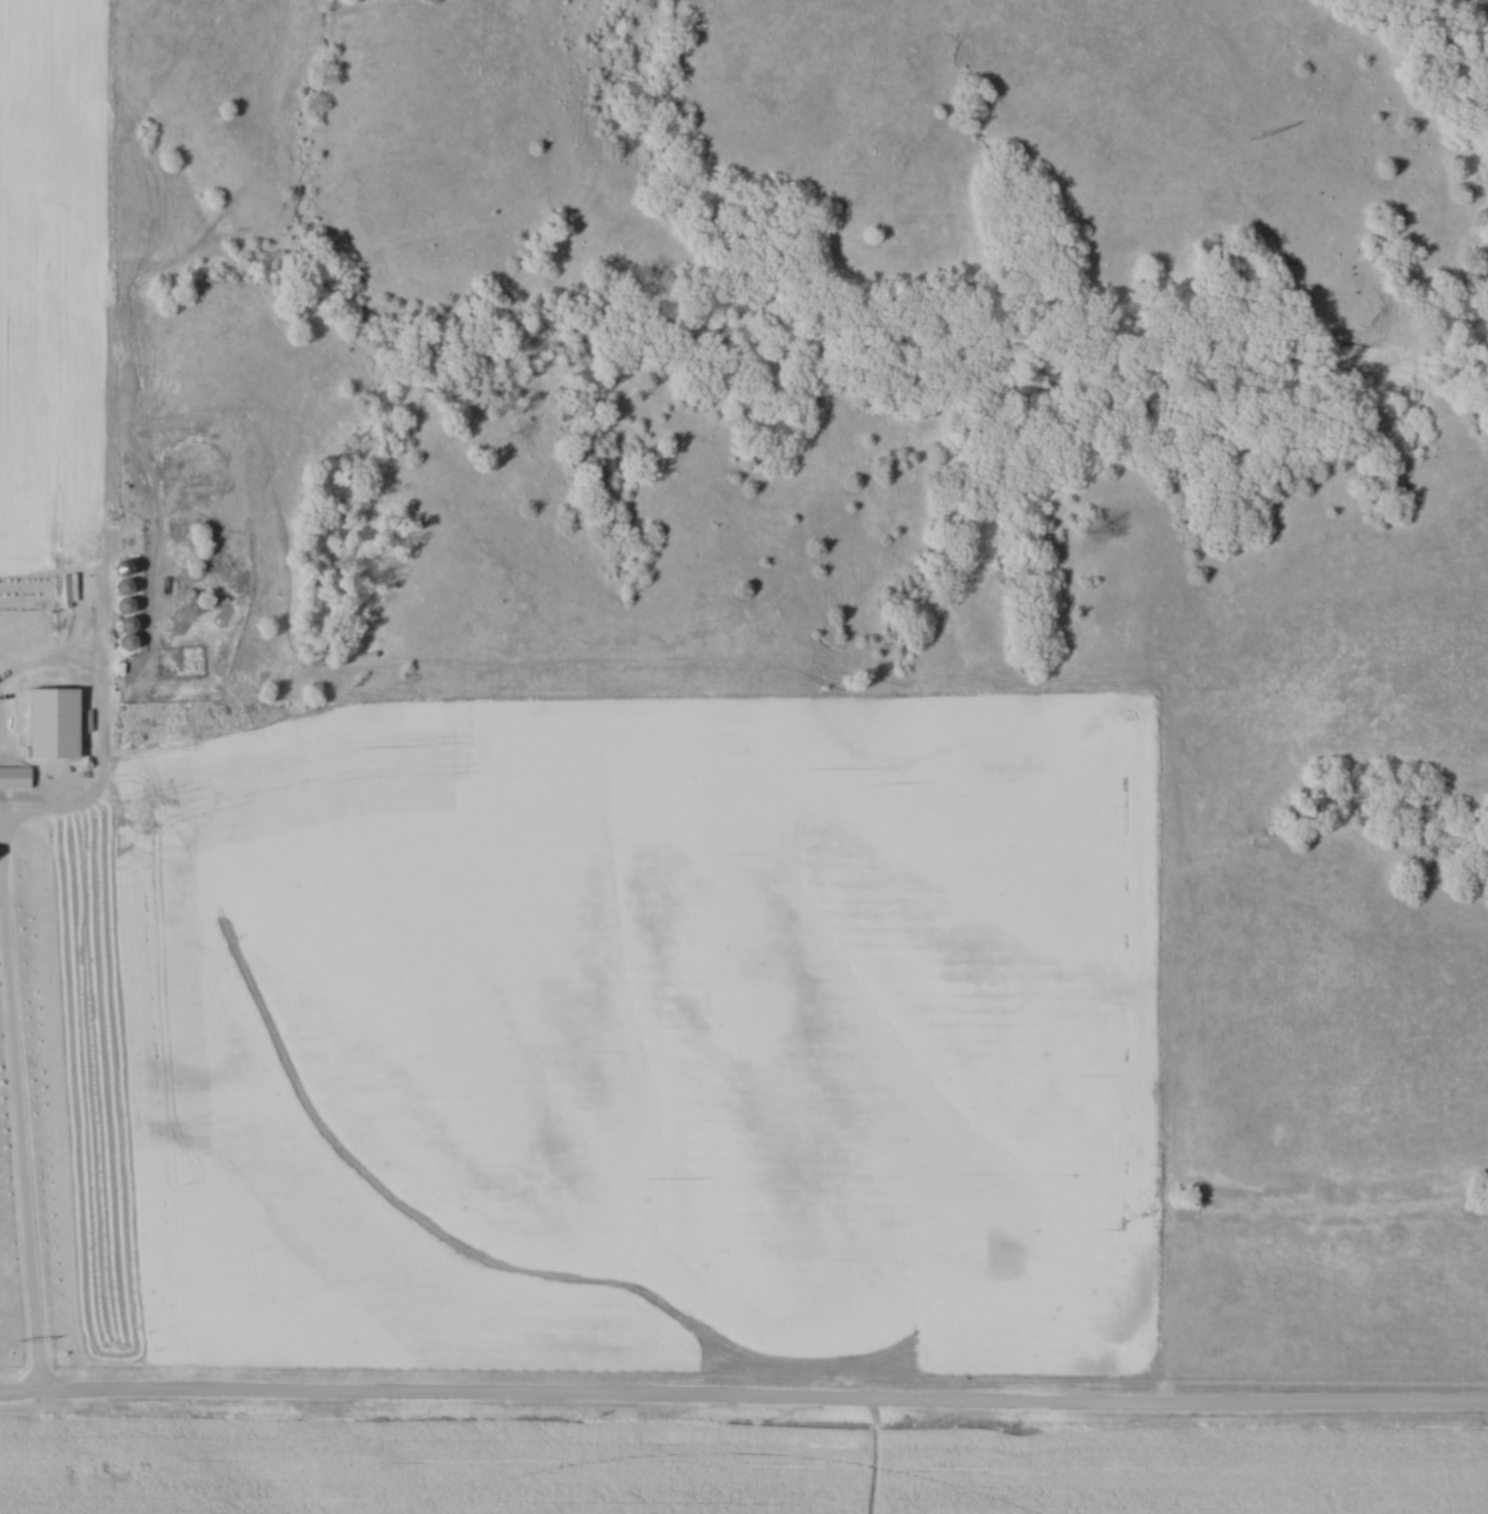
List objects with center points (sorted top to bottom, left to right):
power tower: (1252, 136)
river: (1486, 304)
building: (125, 567)
building: (21, 776)
road: (20, 1127)
road: (743, 1403)

